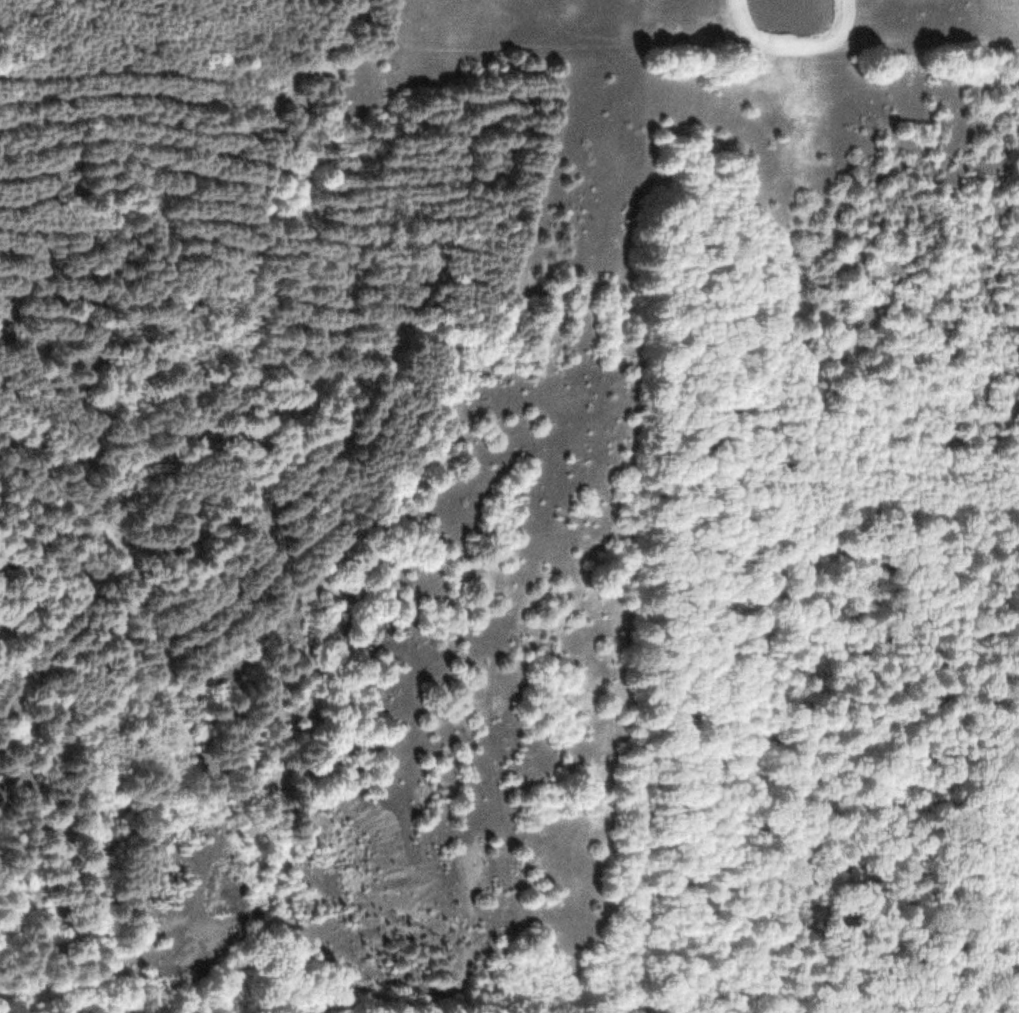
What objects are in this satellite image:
road: (104, 973)

